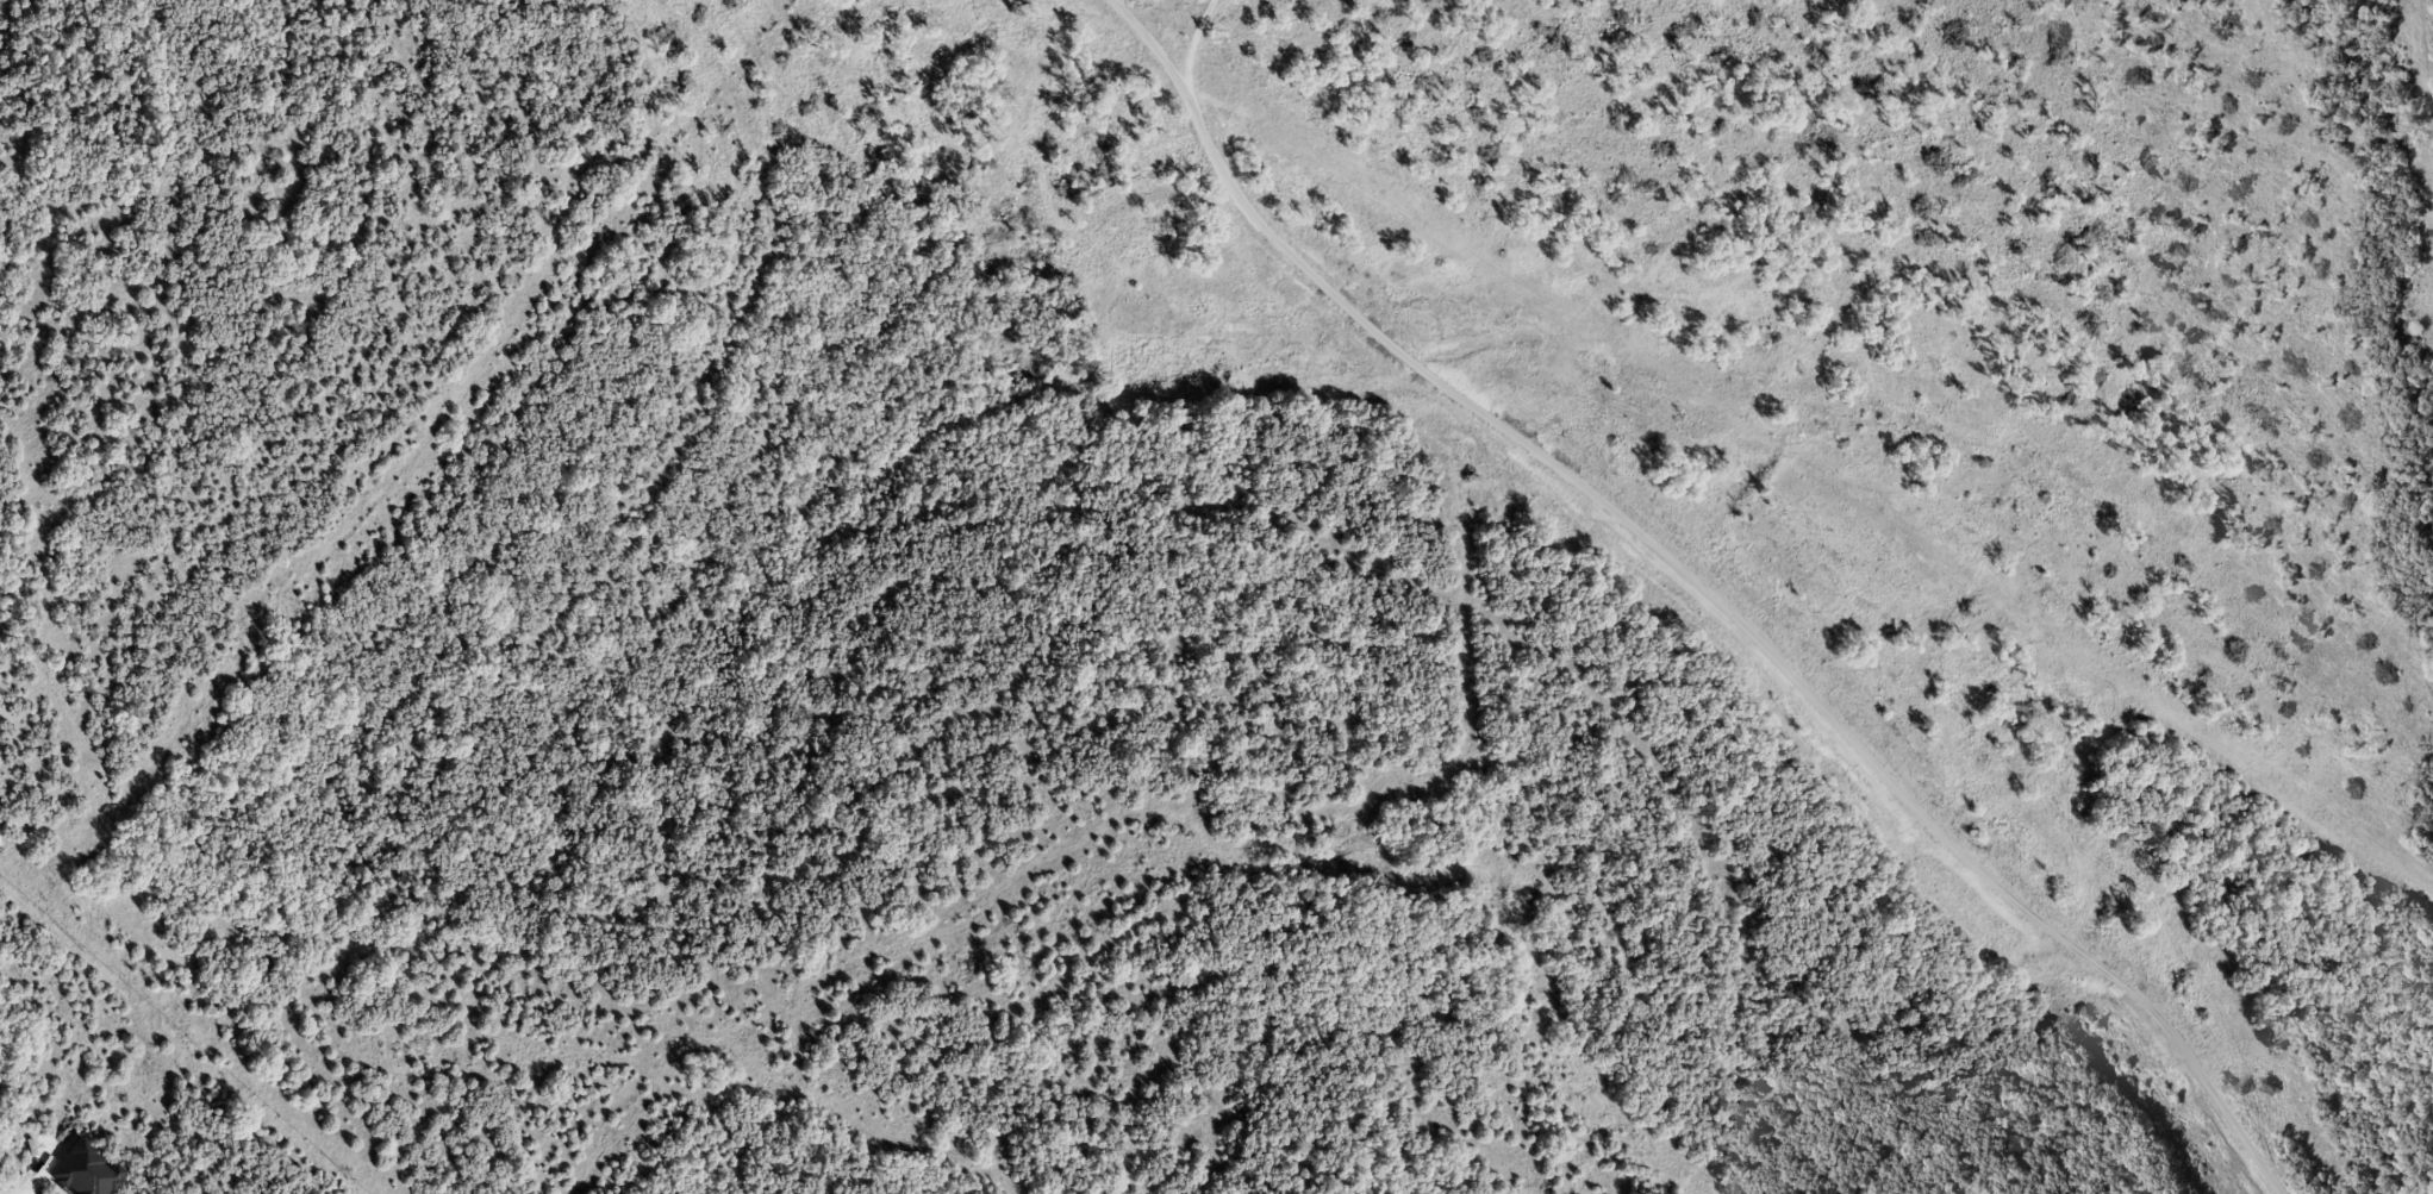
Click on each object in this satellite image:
road: (1146, 39)
road: (1198, 39)
road: (1740, 624)

